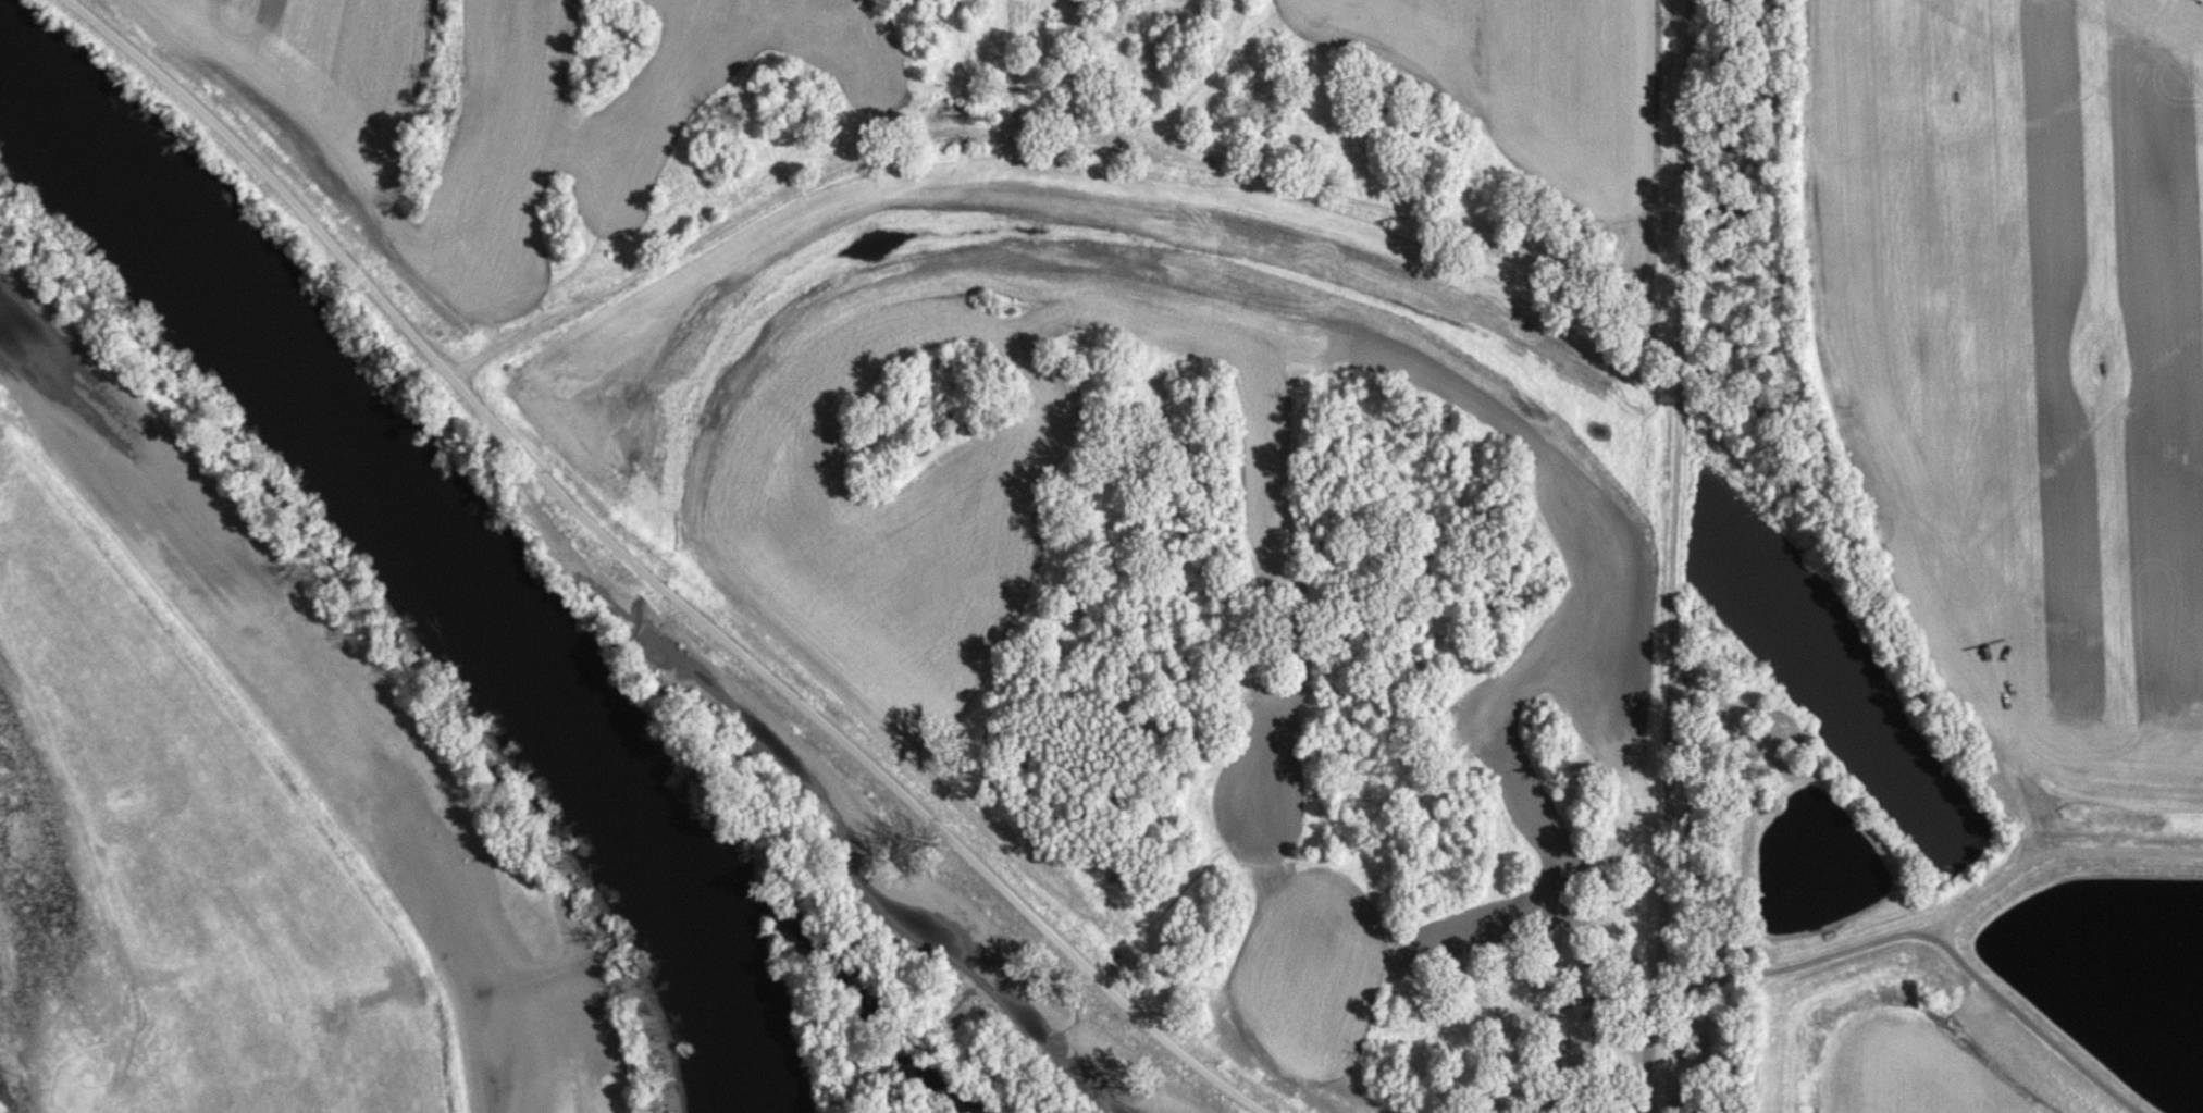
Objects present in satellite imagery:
road: (653, 579)

